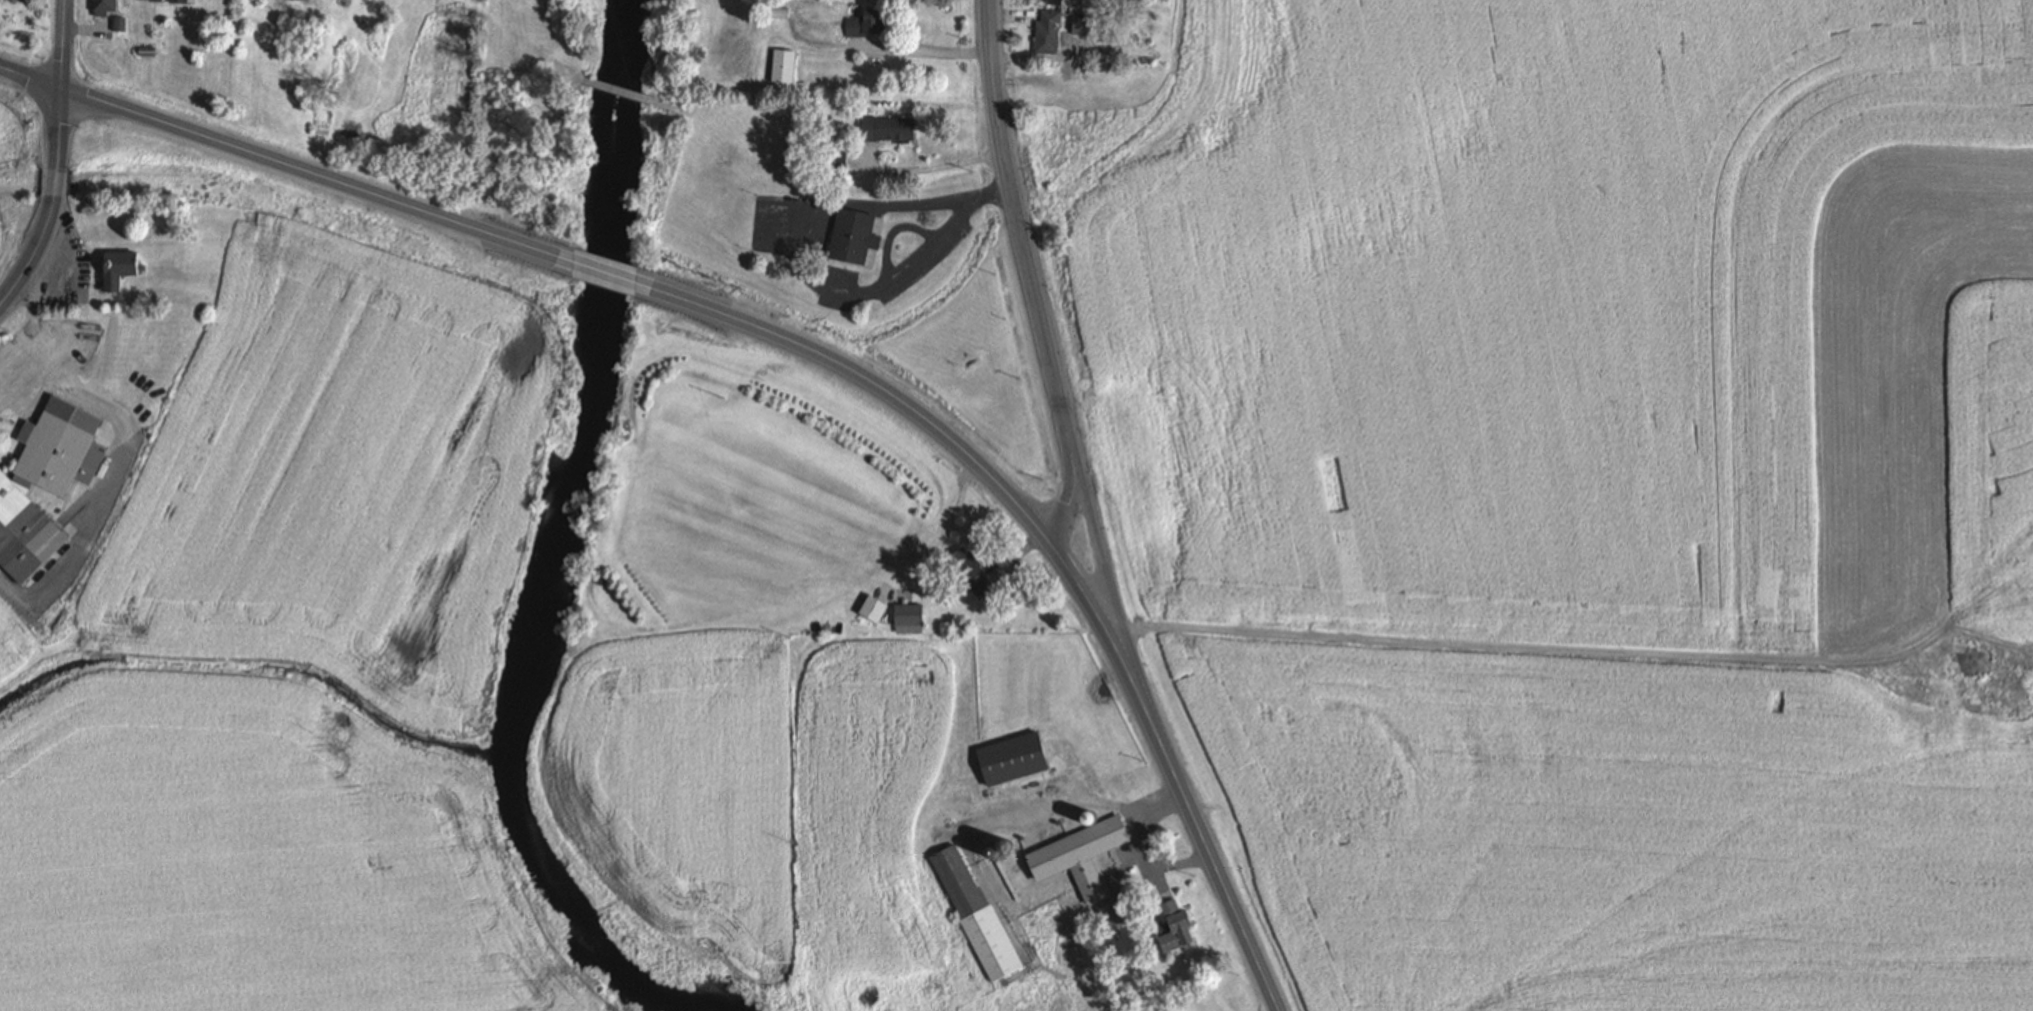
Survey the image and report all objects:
building: (149, 0)
building: (182, 1)
building: (1053, 1)
building: (103, 7)
building: (780, 11)
building: (865, 22)
building: (119, 23)
building: (1083, 25)
building: (1047, 31)
road: (62, 45)
road: (526, 45)
building: (146, 51)
building: (783, 65)
road: (613, 78)
crop: (1084, 117)
crop: (10, 128)
road: (717, 128)
building: (886, 129)
building: (834, 153)
road: (286, 164)
road: (991, 194)
road: (51, 205)
road: (902, 206)
road: (1012, 206)
crop: (1, 219)
road: (881, 222)
road: (892, 233)
building: (852, 238)
road: (876, 243)
road: (878, 243)
road: (883, 245)
parking lot: (927, 255)
road: (855, 266)
road: (845, 267)
parking lot: (66, 269)
building: (117, 269)
road: (604, 270)
crop: (1677, 276)
road: (46, 289)
road: (862, 292)
road: (724, 313)
crop: (1326, 322)
crop: (1868, 340)
road: (77, 349)
parking lot: (42, 366)
crop: (1992, 452)
crop: (340, 476)
building: (14, 499)
road: (1069, 552)
river: (551, 566)
building: (968, 571)
road: (1388, 571)
building: (600, 580)
building: (873, 608)
building: (908, 615)
crop: (13, 646)
road: (1532, 647)
building: (1012, 758)
building: (1132, 779)
crop: (684, 788)
road: (1193, 806)
building: (1090, 816)
silo: (1090, 816)
crop: (875, 824)
building: (1063, 832)
silo: (1063, 832)
crop: (1621, 832)
building: (1074, 852)
crop: (254, 860)
building: (976, 916)
building: (1174, 927)

